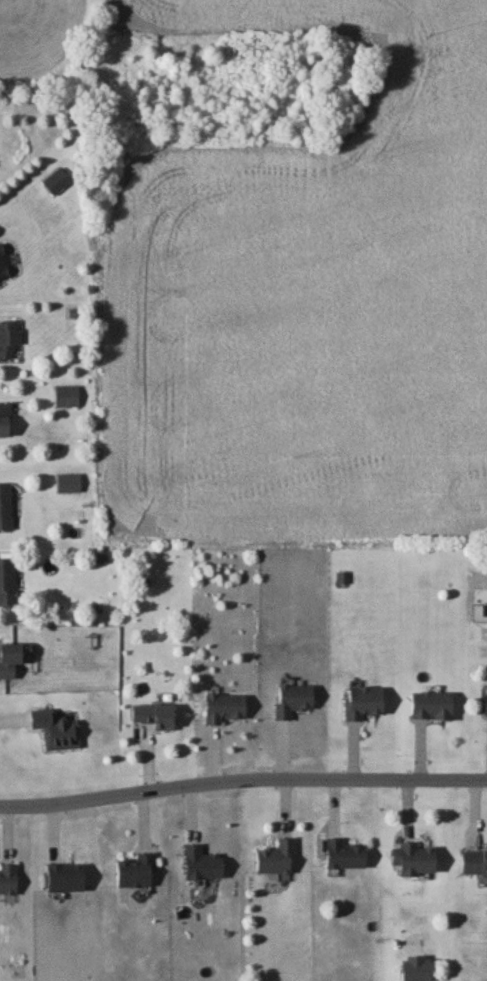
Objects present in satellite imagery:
building: (2, 262)
building: (8, 338)
building: (4, 418)
building: (5, 505)
building: (7, 583)
building: (17, 658)
building: (292, 699)
building: (362, 701)
building: (485, 702)
building: (430, 704)
building: (223, 707)
building: (153, 714)
road: (242, 782)
building: (343, 853)
building: (274, 856)
building: (413, 858)
building: (473, 861)
building: (201, 862)
building: (134, 870)
building: (64, 876)
building: (7, 878)
building: (416, 968)

